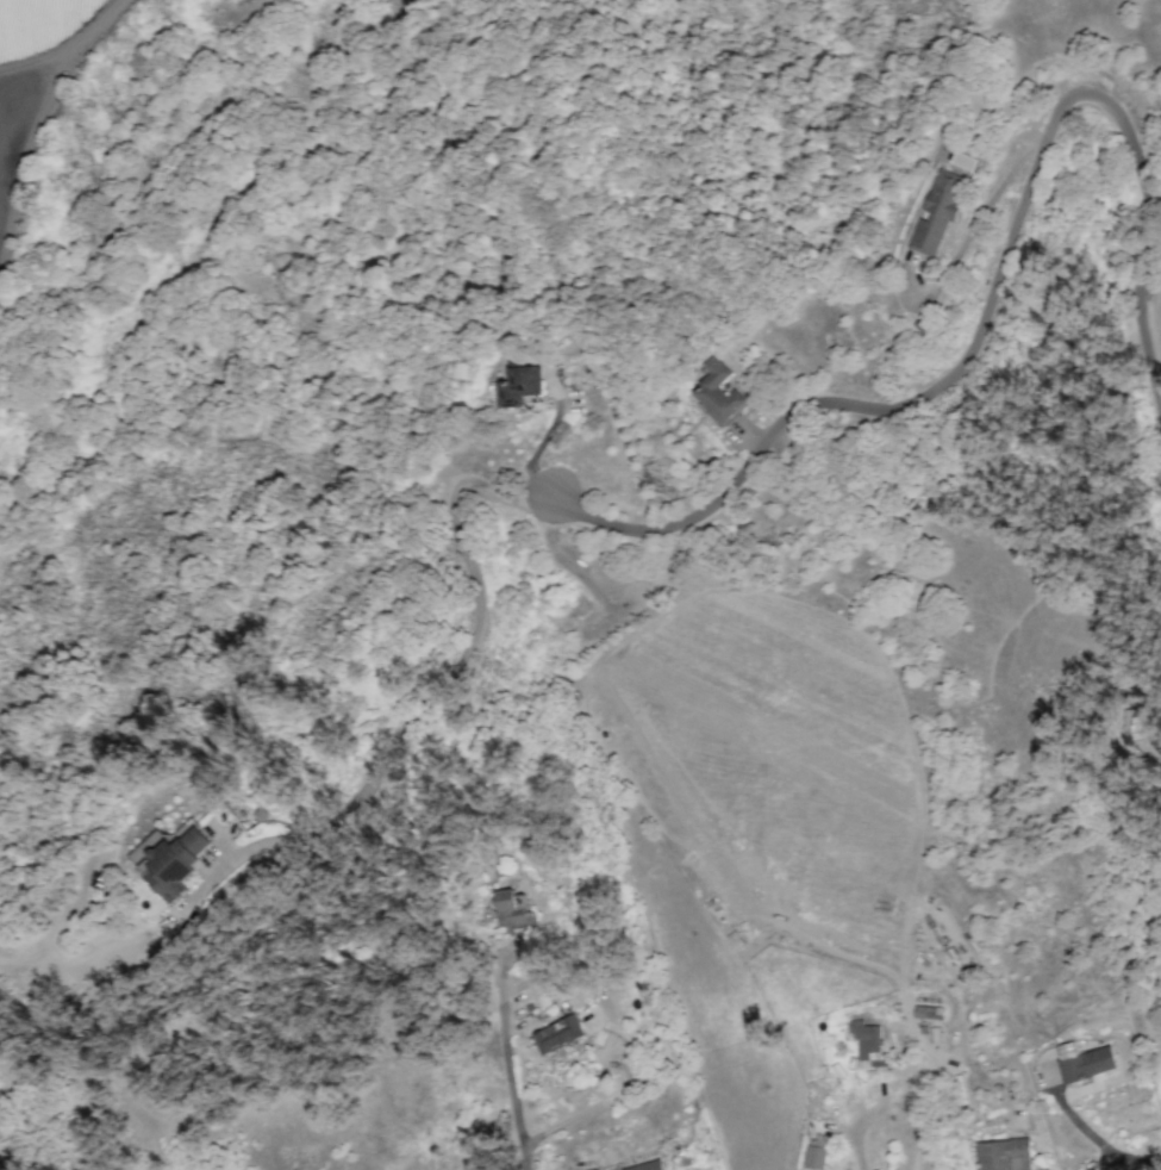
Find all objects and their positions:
crop: (29, 82)
road: (33, 155)
road: (1154, 199)
building: (937, 213)
road: (997, 298)
building: (517, 385)
building: (717, 391)
road: (460, 662)
building: (210, 801)
building: (171, 860)
building: (554, 1035)
building: (866, 1038)
building: (1087, 1064)
road: (510, 1070)
building: (816, 1139)
road: (1097, 1141)
building: (1003, 1155)
building: (813, 1157)
building: (647, 1166)

